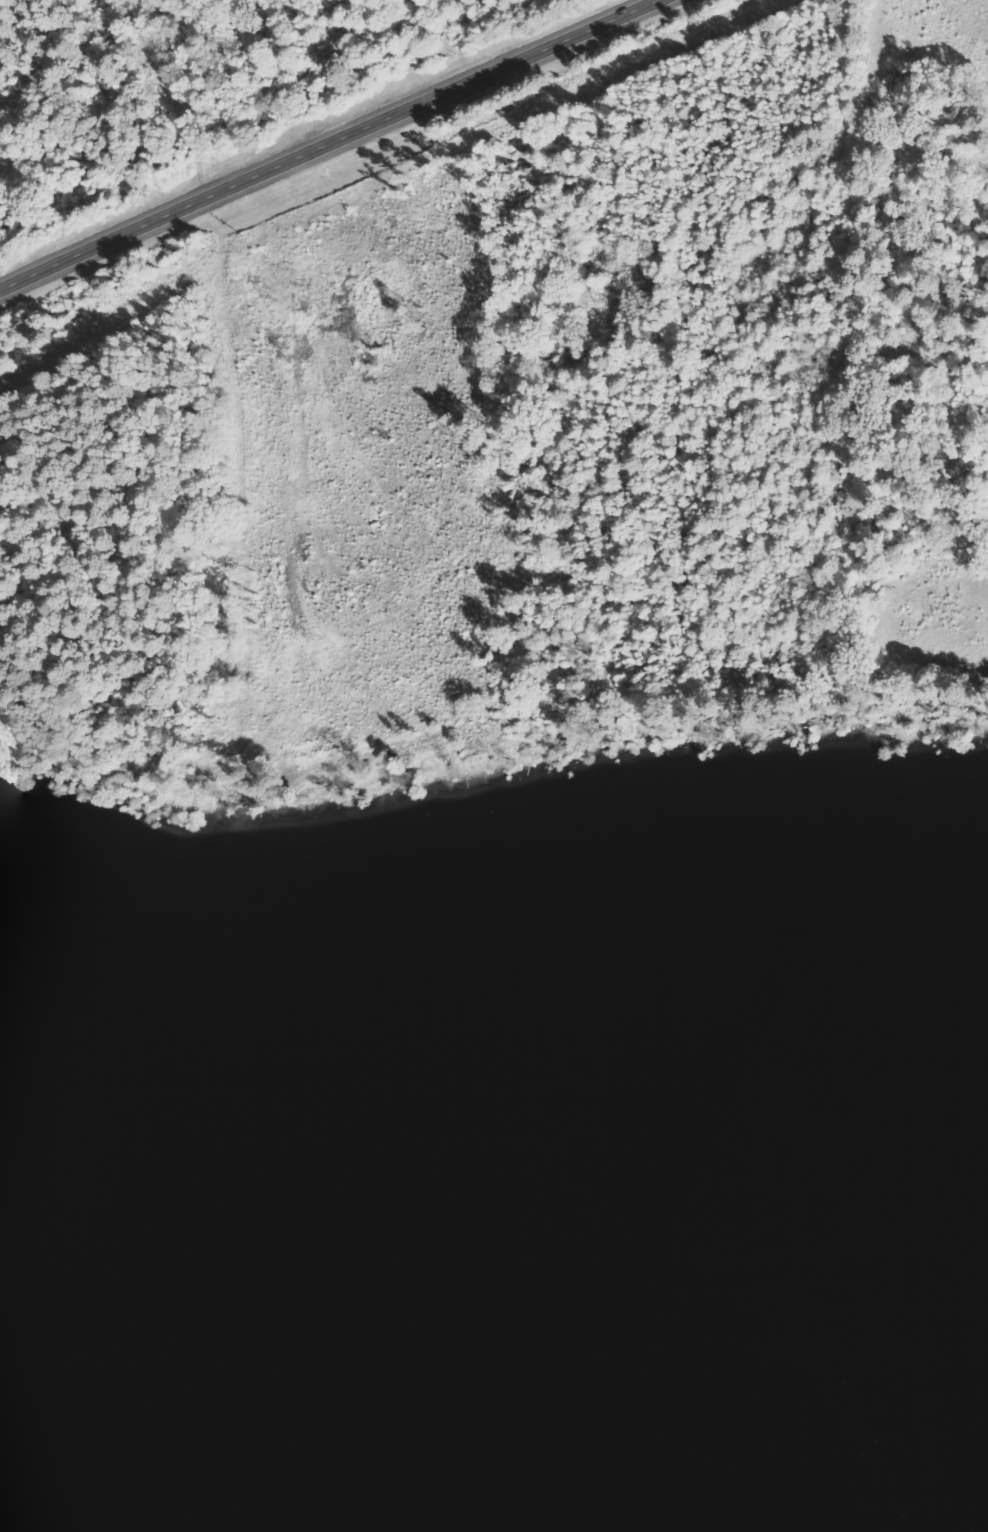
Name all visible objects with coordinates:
road: (330, 145)

